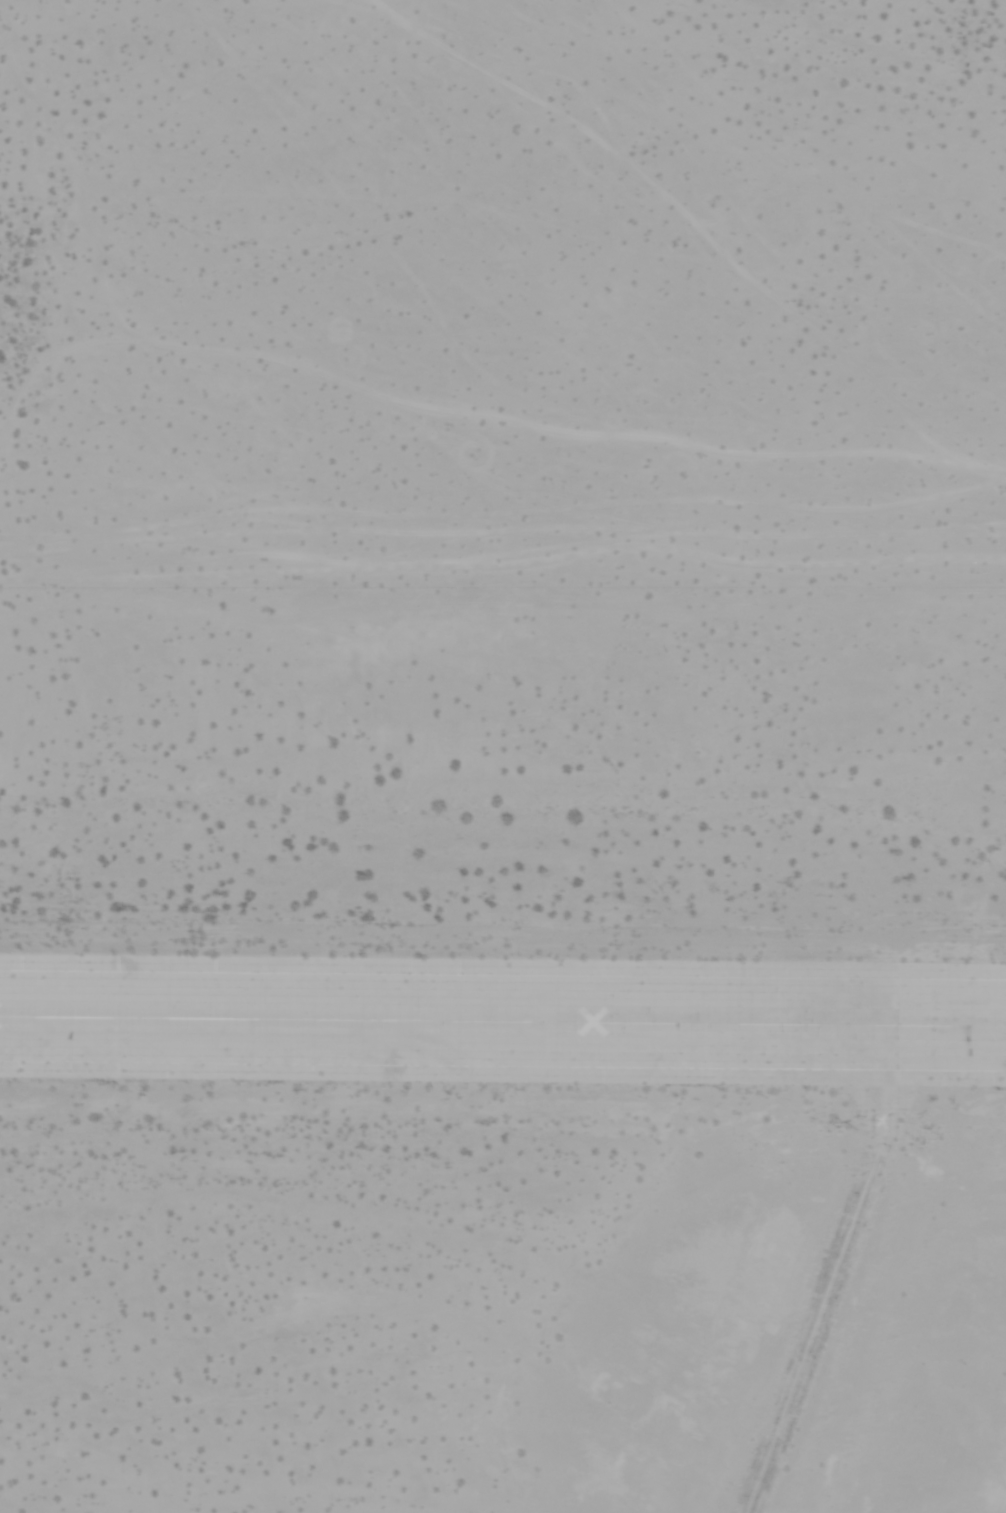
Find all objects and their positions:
airport runway: (503, 1019)

